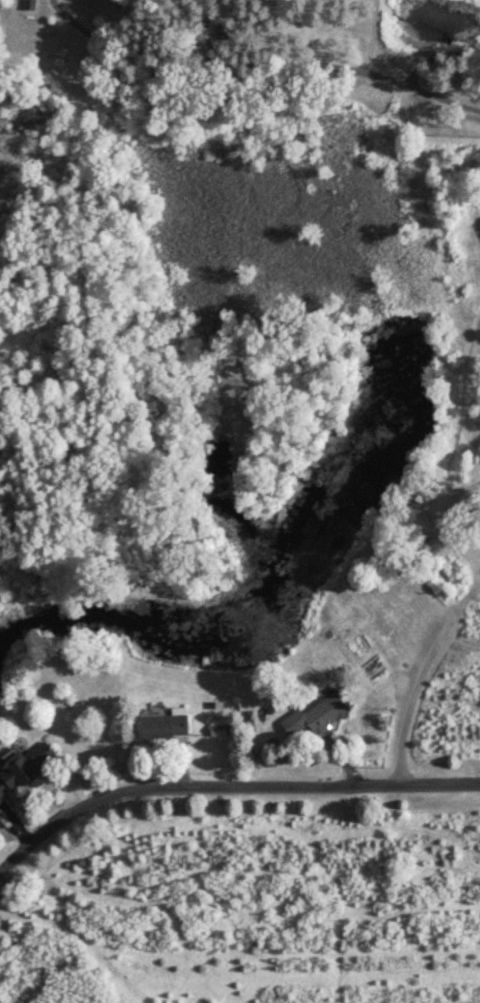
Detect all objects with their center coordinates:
road: (409, 704)
building: (321, 716)
building: (170, 728)
building: (28, 773)
road: (226, 789)

